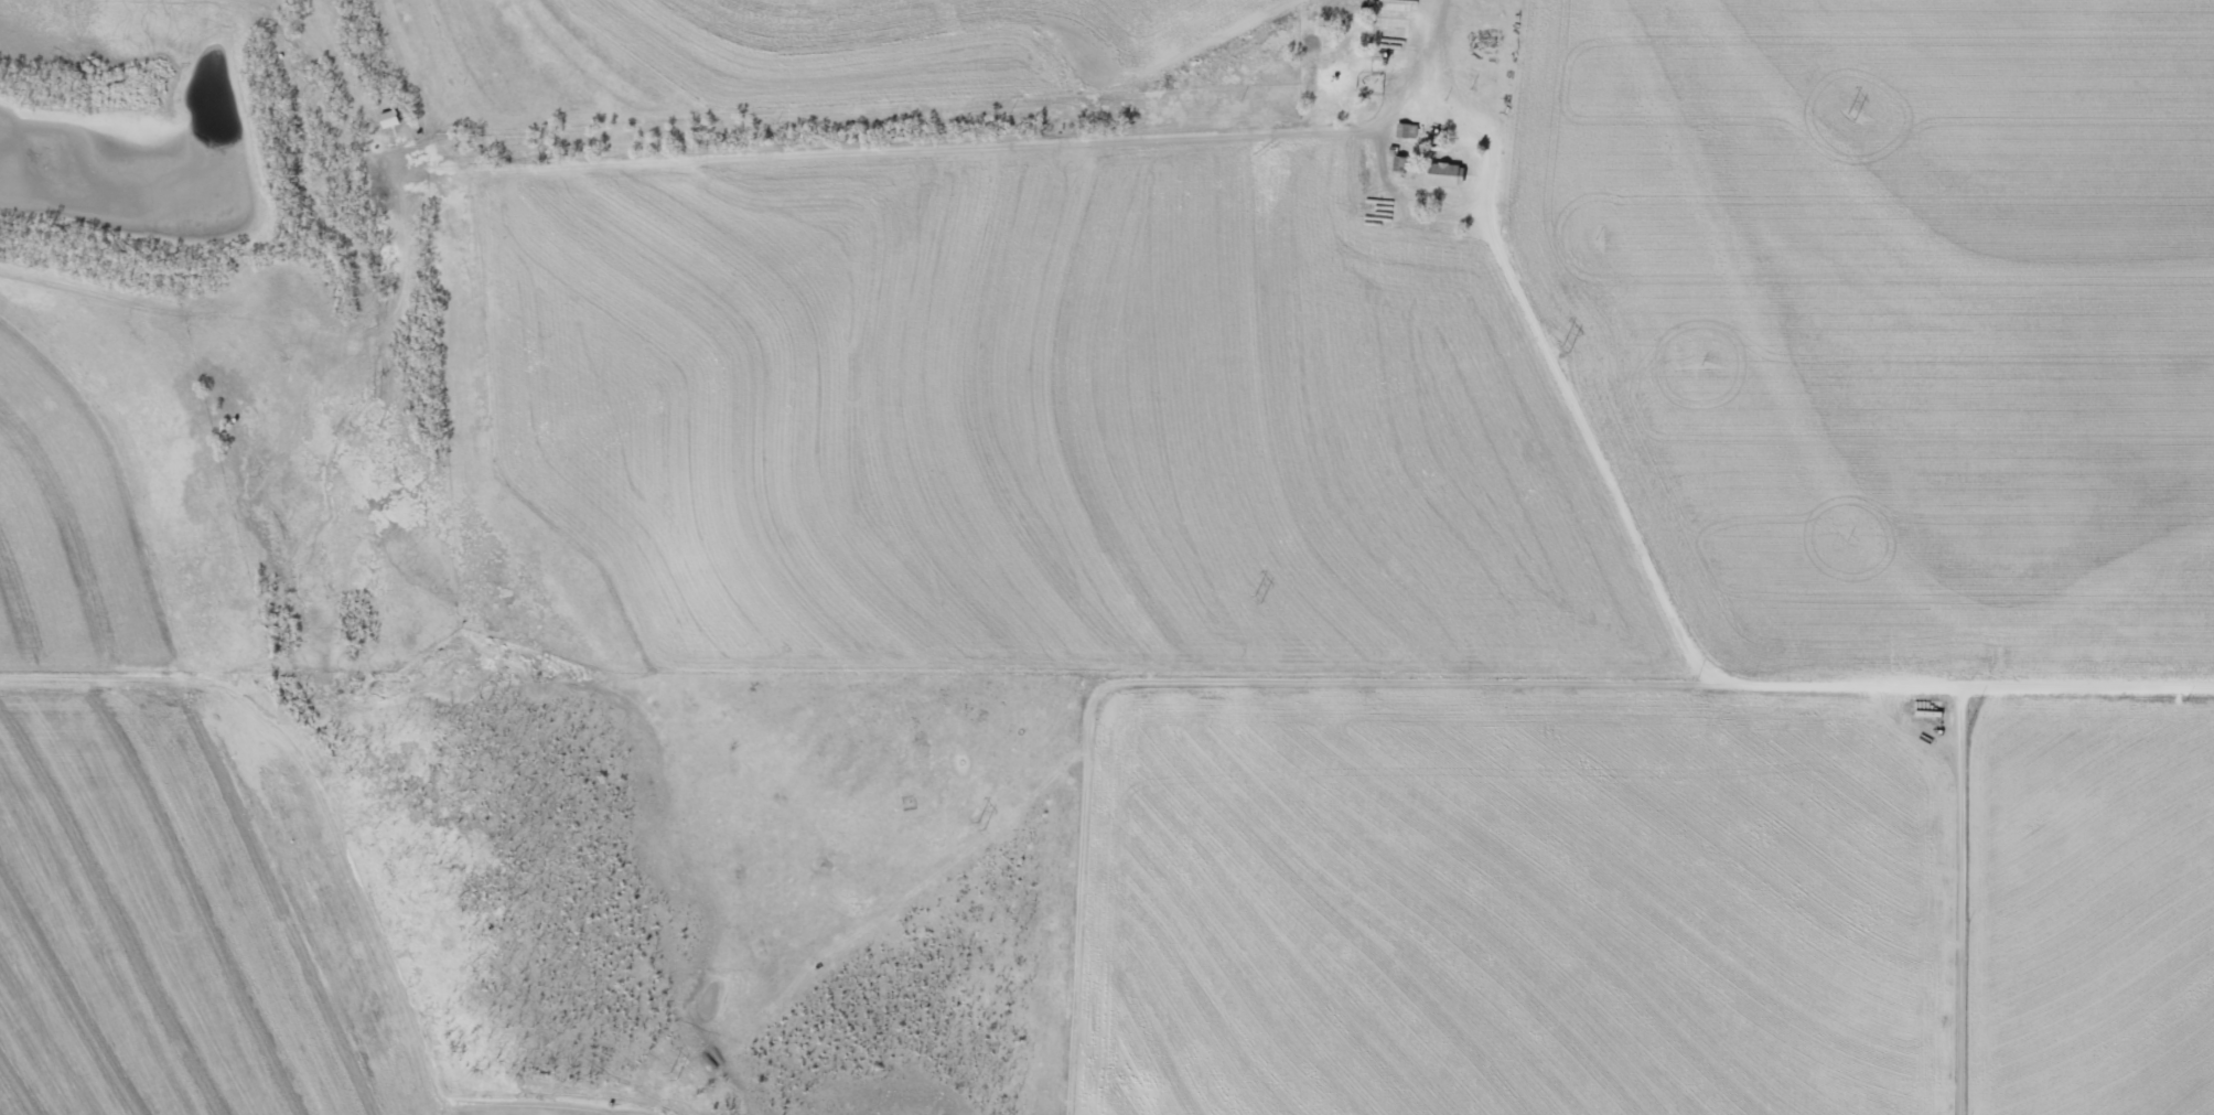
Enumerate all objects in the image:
power tower: (1863, 122)
power tower: (1581, 350)
power tower: (1261, 608)
road: (2098, 677)
power tower: (989, 827)
road: (1977, 896)
power tower: (676, 1082)

